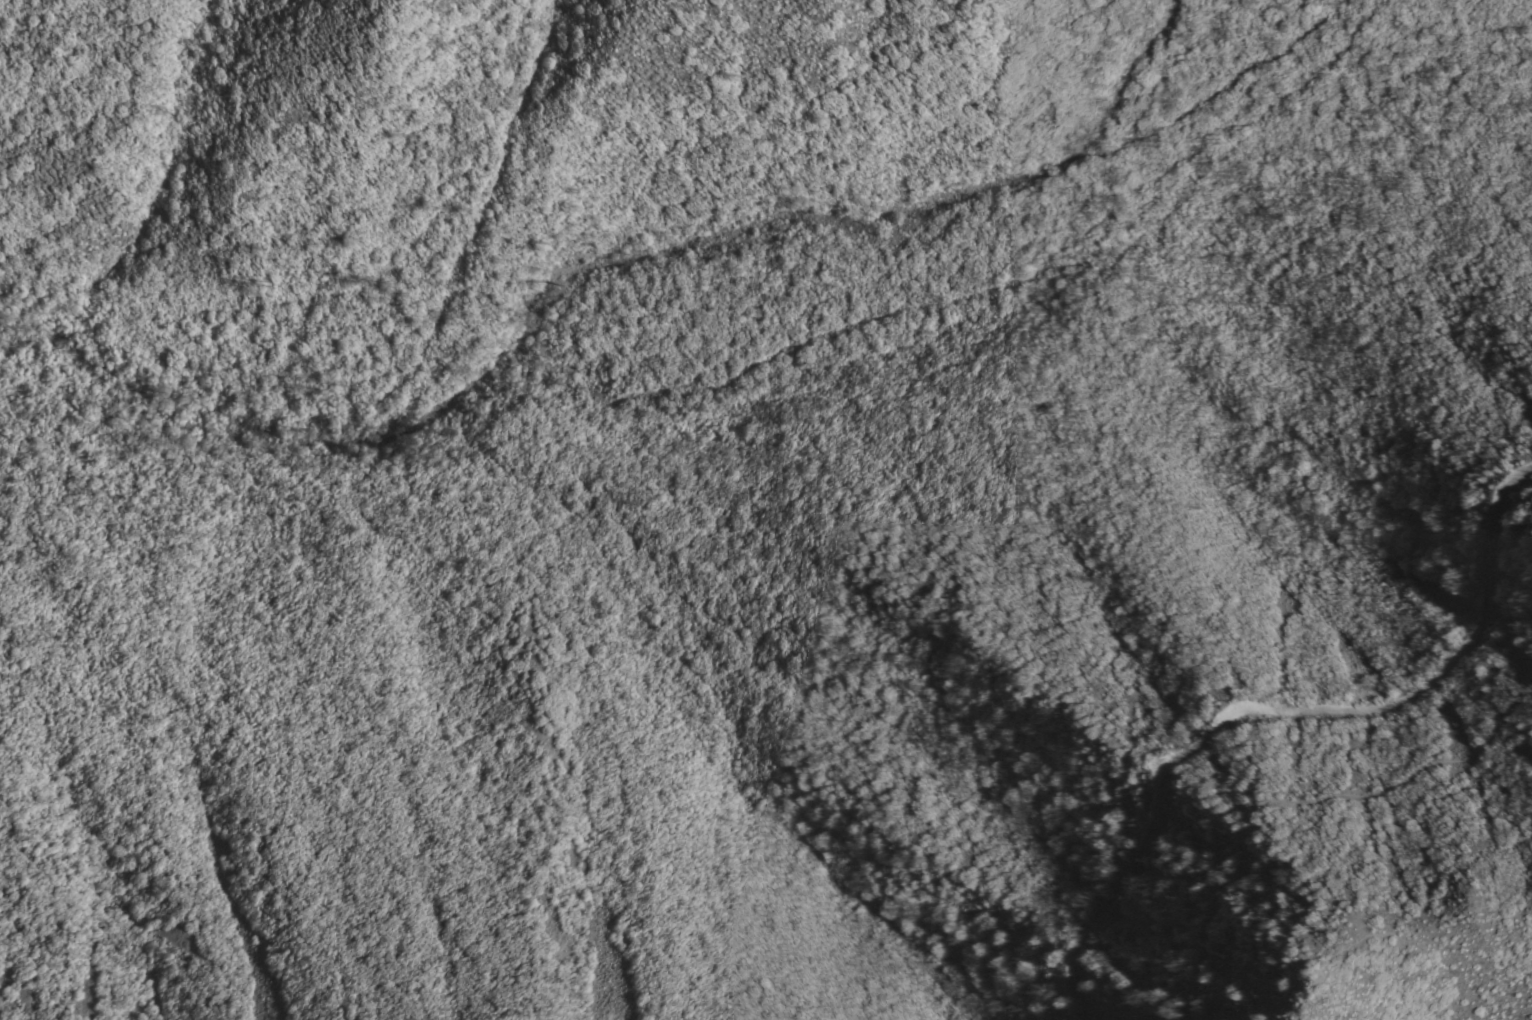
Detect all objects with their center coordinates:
road: (1277, 711)
road: (1302, 795)
road: (1401, 936)

